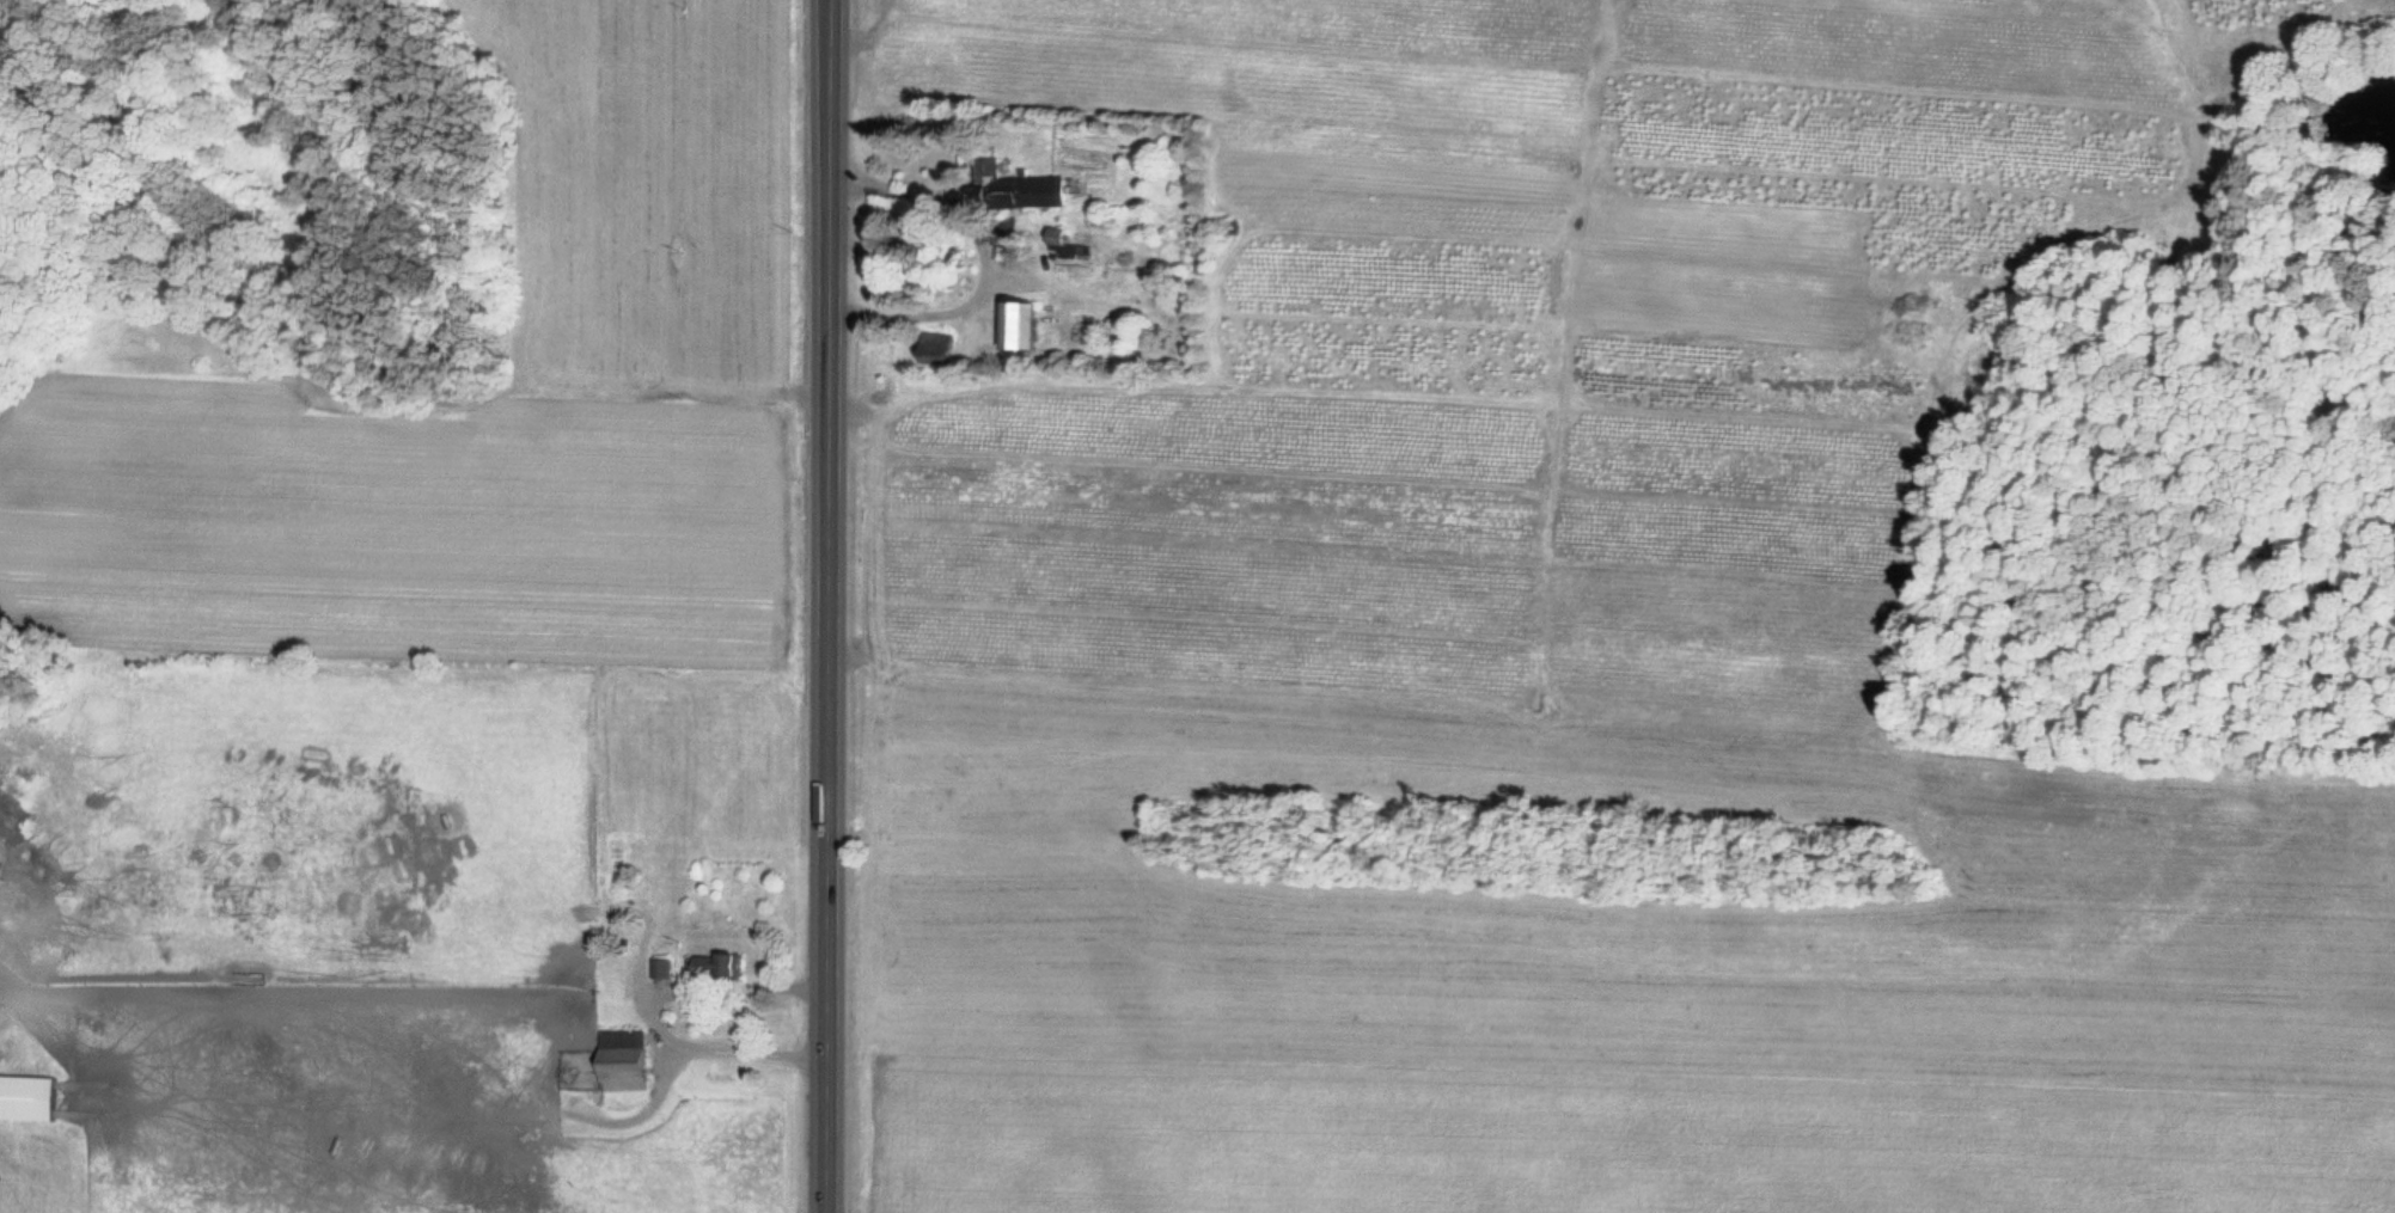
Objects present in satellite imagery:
building: (1016, 189)
building: (1016, 326)
road: (826, 606)
building: (714, 966)
building: (660, 968)
building: (619, 1061)
building: (25, 1098)

